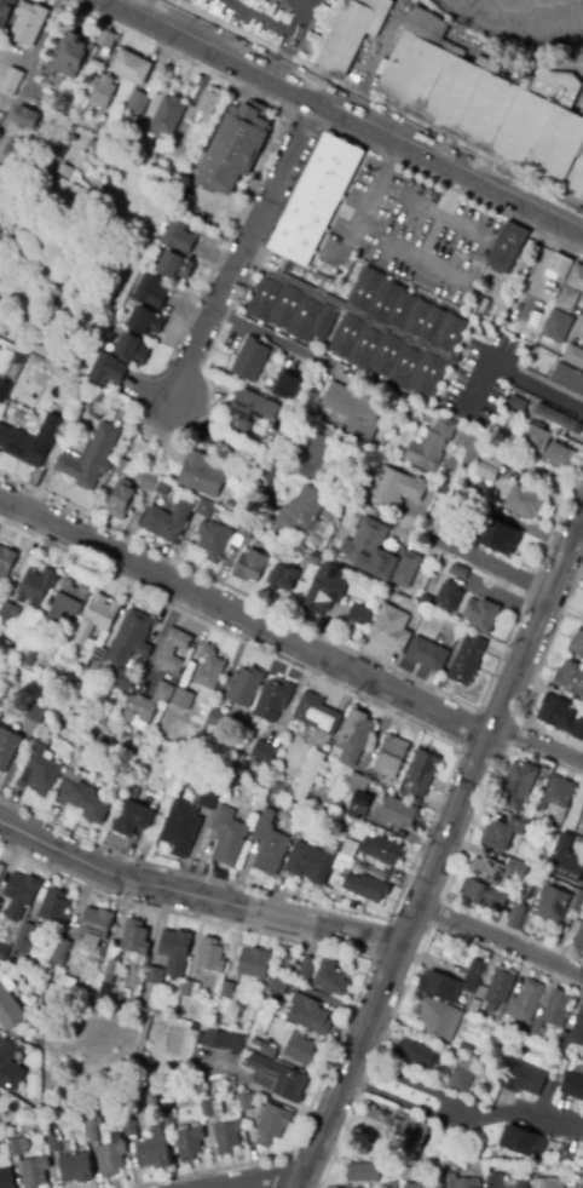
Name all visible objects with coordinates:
road: (145, 6)
building: (5, 11)
building: (28, 23)
building: (358, 34)
road: (298, 39)
building: (82, 50)
building: (134, 65)
building: (12, 80)
building: (106, 90)
building: (139, 101)
building: (484, 101)
building: (184, 110)
road: (350, 113)
building: (28, 115)
building: (93, 147)
building: (237, 147)
building: (151, 155)
building: (6, 156)
building: (146, 179)
building: (321, 195)
road: (370, 199)
building: (179, 246)
building: (509, 246)
road: (244, 249)
road: (463, 257)
road: (541, 259)
building: (560, 265)
building: (576, 276)
building: (568, 299)
building: (152, 303)
building: (544, 305)
building: (366, 325)
building: (559, 325)
road: (272, 338)
building: (582, 339)
building: (539, 342)
building: (134, 346)
building: (553, 348)
building: (575, 354)
building: (250, 361)
building: (111, 368)
building: (567, 374)
road: (510, 377)
building: (288, 386)
building: (4, 389)
building: (98, 396)
building: (516, 403)
building: (252, 409)
building: (352, 412)
building: (406, 413)
building: (285, 415)
building: (559, 417)
building: (416, 418)
road: (220, 437)
building: (433, 443)
building: (23, 444)
building: (552, 447)
building: (91, 455)
building: (323, 459)
building: (490, 465)
building: (123, 469)
building: (202, 475)
building: (148, 480)
building: (398, 486)
building: (162, 488)
building: (445, 489)
building: (474, 490)
building: (121, 500)
building: (526, 500)
building: (229, 505)
building: (203, 509)
building: (300, 510)
building: (432, 516)
building: (167, 521)
building: (247, 530)
road: (578, 532)
building: (503, 536)
building: (213, 540)
building: (381, 555)
road: (485, 559)
building: (6, 562)
building: (250, 567)
building: (458, 570)
building: (283, 578)
building: (35, 586)
building: (324, 590)
building: (51, 596)
building: (450, 596)
building: (427, 598)
building: (68, 601)
building: (371, 606)
building: (8, 610)
building: (582, 612)
building: (485, 613)
building: (98, 615)
building: (359, 615)
road: (244, 619)
building: (1, 622)
building: (392, 629)
building: (131, 638)
building: (577, 644)
building: (172, 650)
building: (429, 653)
building: (29, 658)
building: (468, 659)
building: (94, 660)
building: (209, 668)
building: (570, 678)
building: (120, 679)
building: (244, 687)
building: (163, 691)
building: (183, 699)
building: (273, 700)
building: (137, 710)
building: (35, 712)
building: (317, 714)
building: (560, 717)
building: (215, 718)
building: (354, 738)
building: (45, 740)
road: (537, 744)
building: (7, 748)
building: (264, 752)
building: (391, 757)
building: (236, 762)
building: (42, 771)
building: (421, 773)
building: (307, 779)
building: (360, 782)
building: (516, 786)
building: (275, 787)
building: (133, 792)
building: (210, 793)
building: (83, 797)
building: (270, 797)
building: (554, 798)
building: (359, 805)
building: (398, 813)
building: (582, 814)
building: (132, 819)
building: (578, 827)
building: (180, 828)
building: (502, 834)
building: (227, 837)
building: (269, 845)
building: (330, 846)
road: (438, 849)
building: (381, 850)
building: (346, 855)
building: (308, 863)
building: (566, 867)
building: (373, 868)
building: (496, 870)
building: (334, 878)
building: (582, 884)
building: (365, 888)
building: (19, 895)
building: (483, 895)
road: (194, 897)
building: (552, 901)
building: (577, 901)
building: (0, 905)
building: (54, 908)
building: (515, 917)
building: (93, 926)
building: (577, 932)
building: (134, 937)
building: (24, 939)
road: (498, 939)
building: (4, 951)
building: (175, 952)
building: (60, 953)
building: (210, 957)
building: (254, 963)
building: (111, 968)
building: (306, 969)
building: (152, 975)
building: (46, 976)
building: (473, 977)
building: (330, 980)
building: (65, 982)
building: (278, 986)
building: (438, 986)
building: (190, 989)
building: (227, 991)
building: (492, 992)
building: (25, 995)
building: (524, 1002)
building: (468, 1004)
building: (8, 1009)
building: (308, 1012)
building: (552, 1014)
building: (439, 1018)
building: (194, 1027)
building: (572, 1034)
building: (209, 1038)
building: (255, 1043)
building: (236, 1044)
building: (553, 1044)
building: (300, 1049)
building: (267, 1051)
building: (414, 1054)
building: (559, 1055)
building: (582, 1058)
building: (10, 1066)
building: (463, 1068)
building: (279, 1078)
building: (523, 1079)
building: (572, 1086)
road: (468, 1098)
building: (247, 1101)
building: (206, 1109)
building: (168, 1117)
building: (272, 1124)
building: (129, 1129)
building: (398, 1129)
building: (91, 1134)
building: (227, 1136)
building: (2, 1140)
building: (523, 1142)
building: (189, 1143)
building: (52, 1144)
building: (17, 1147)
building: (152, 1153)
building: (452, 1157)
building: (111, 1159)
building: (471, 1165)
building: (75, 1169)
building: (34, 1172)
building: (363, 1172)
building: (408, 1173)
building: (6, 1178)
road: (265, 1178)
building: (496, 1181)
building: (461, 1183)
building: (548, 1183)
building: (389, 1184)
building: (520, 1184)
building: (411, 1186)
building: (433, 1187)
building: (581, 1187)

